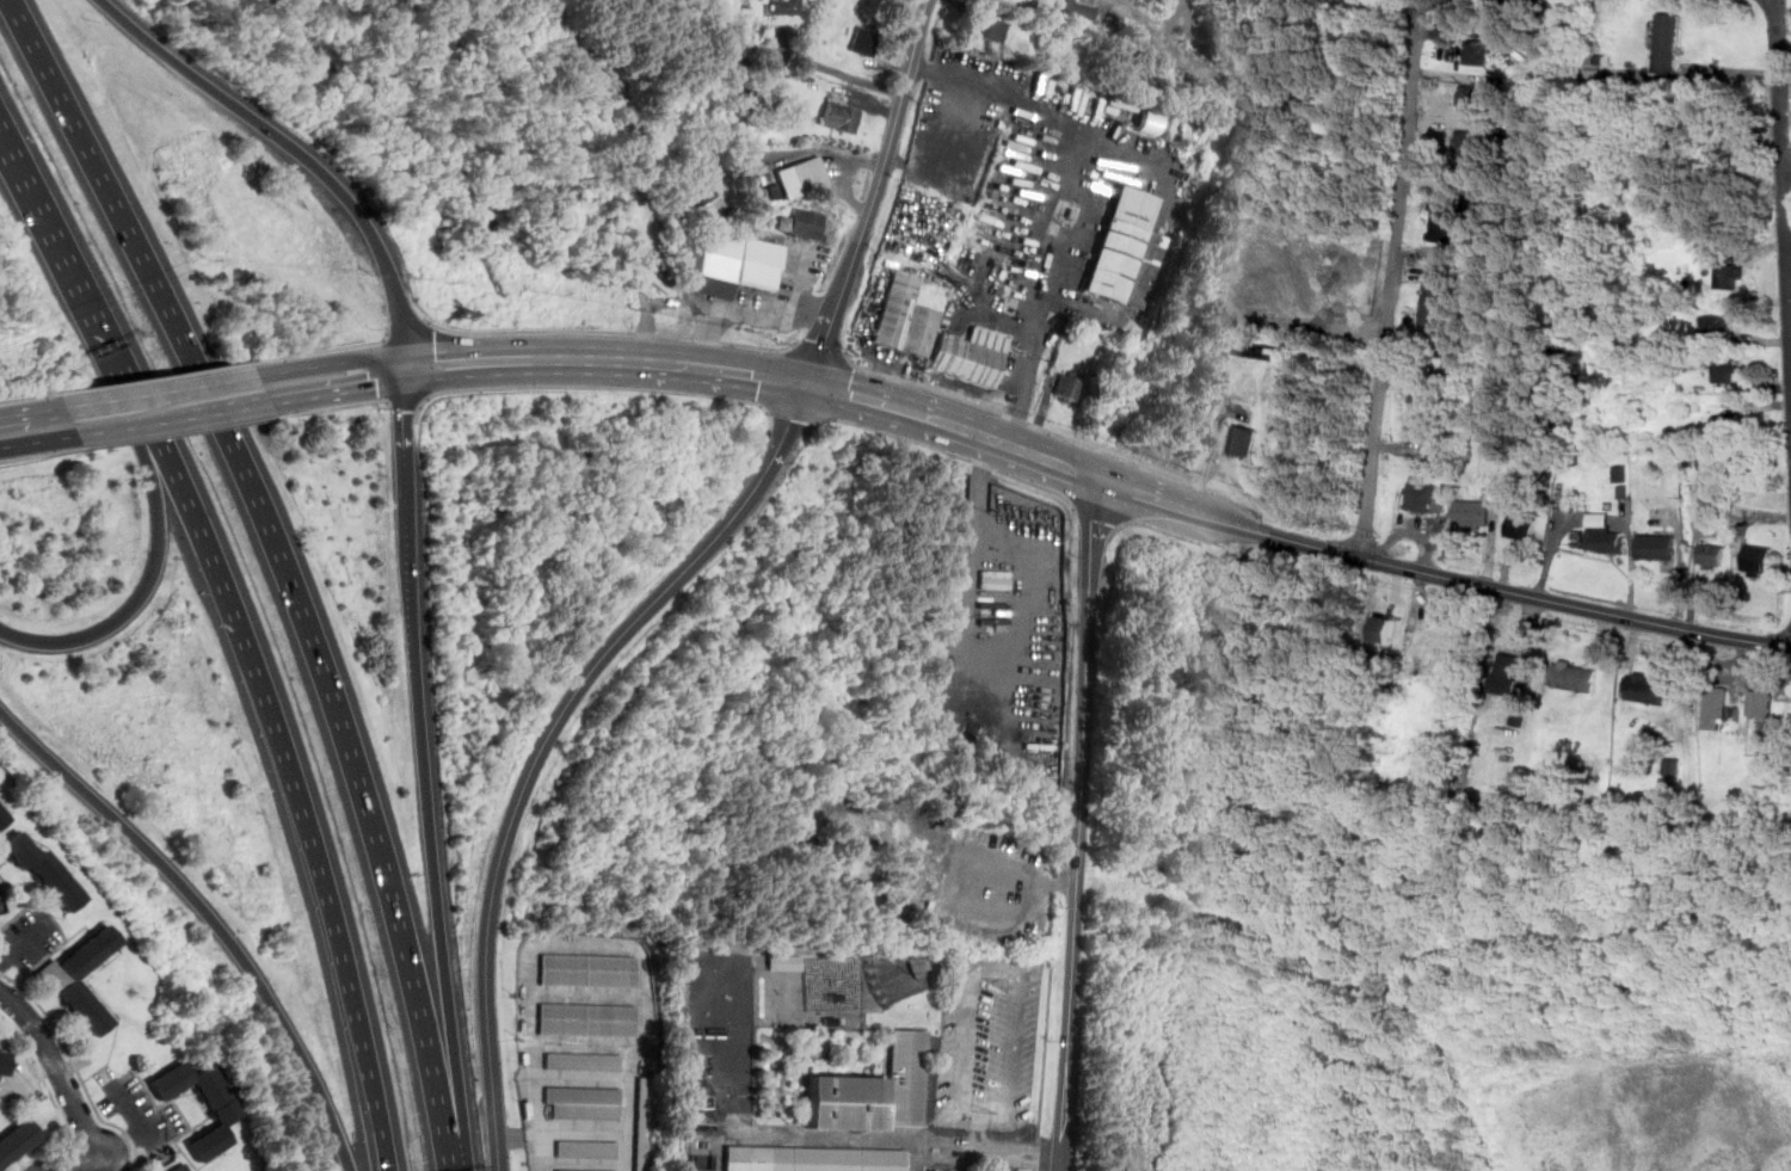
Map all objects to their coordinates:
building: (786, 6)
building: (1081, 8)
building: (987, 27)
building: (866, 39)
building: (1668, 42)
building: (1476, 51)
road: (847, 74)
road: (1009, 90)
building: (1472, 95)
building: (842, 118)
building: (1149, 123)
building: (1467, 141)
road: (890, 146)
road: (296, 152)
road: (798, 152)
building: (1724, 154)
building: (802, 177)
road: (1783, 179)
building: (701, 189)
road: (847, 190)
road: (1089, 212)
building: (1444, 222)
building: (807, 223)
building: (1127, 249)
building: (732, 264)
road: (74, 275)
building: (1730, 276)
road: (1392, 279)
building: (1435, 298)
road: (745, 312)
building: (1301, 313)
building: (909, 315)
building: (1716, 327)
road: (821, 337)
building: (971, 355)
road: (608, 358)
road: (467, 360)
road: (327, 364)
traffic signals: (400, 368)
building: (1727, 369)
road: (743, 372)
traffic signals: (806, 384)
building: (1069, 386)
road: (183, 387)
road: (337, 392)
road: (869, 399)
road: (87, 402)
road: (32, 411)
road: (227, 411)
building: (1422, 413)
building: (1728, 424)
road: (131, 426)
building: (1242, 439)
road: (39, 440)
road: (1018, 448)
road: (402, 449)
road: (1210, 450)
building: (1620, 473)
building: (1422, 493)
road: (1158, 499)
building: (1473, 512)
building: (1521, 525)
road: (1095, 534)
building: (1604, 534)
building: (1657, 544)
building: (1711, 554)
building: (1758, 556)
road: (965, 559)
road: (284, 565)
road: (1680, 575)
road: (220, 578)
building: (995, 579)
road: (147, 586)
road: (1500, 588)
building: (1467, 652)
building: (1508, 672)
building: (1575, 676)
building: (1648, 686)
building: (1761, 701)
building: (1717, 705)
road: (546, 738)
building: (4, 818)
road: (430, 851)
building: (47, 871)
road: (1078, 871)
road: (48, 908)
road: (18, 916)
road: (209, 916)
road: (586, 945)
road: (340, 955)
road: (43, 962)
building: (786, 962)
road: (993, 968)
building: (590, 970)
building: (68, 987)
building: (816, 988)
road: (590, 994)
building: (589, 1019)
road: (589, 1044)
theme park: (855, 1056)
building: (5, 1060)
building: (584, 1061)
road: (76, 1067)
road: (1044, 1068)
road: (57, 1071)
road: (585, 1078)
building: (906, 1078)
road: (5, 1085)
road: (48, 1086)
building: (584, 1102)
building: (849, 1102)
building: (223, 1109)
road: (186, 1117)
building: (645, 1123)
road: (144, 1126)
road: (585, 1130)
road: (986, 1136)
building: (18, 1145)
building: (587, 1148)
road: (43, 1150)
road: (1007, 1152)
building: (814, 1159)
road: (586, 1163)
road: (1061, 1163)
road: (88, 1164)
road: (110, 1164)
road: (146, 1165)
building: (184, 1167)
building: (567, 1170)

